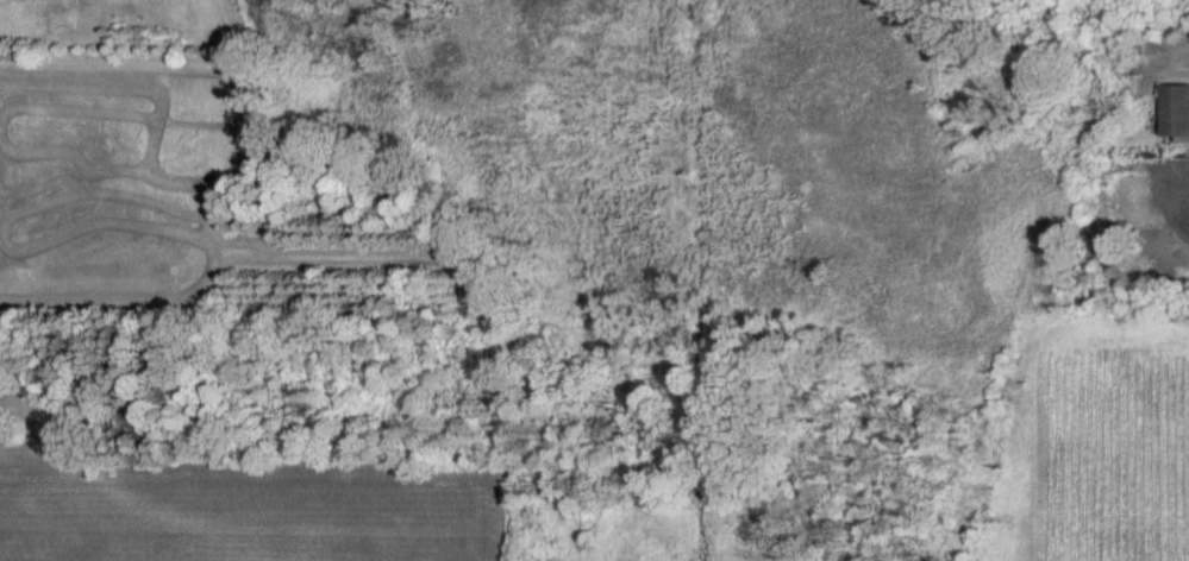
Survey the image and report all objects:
building: (1175, 111)

